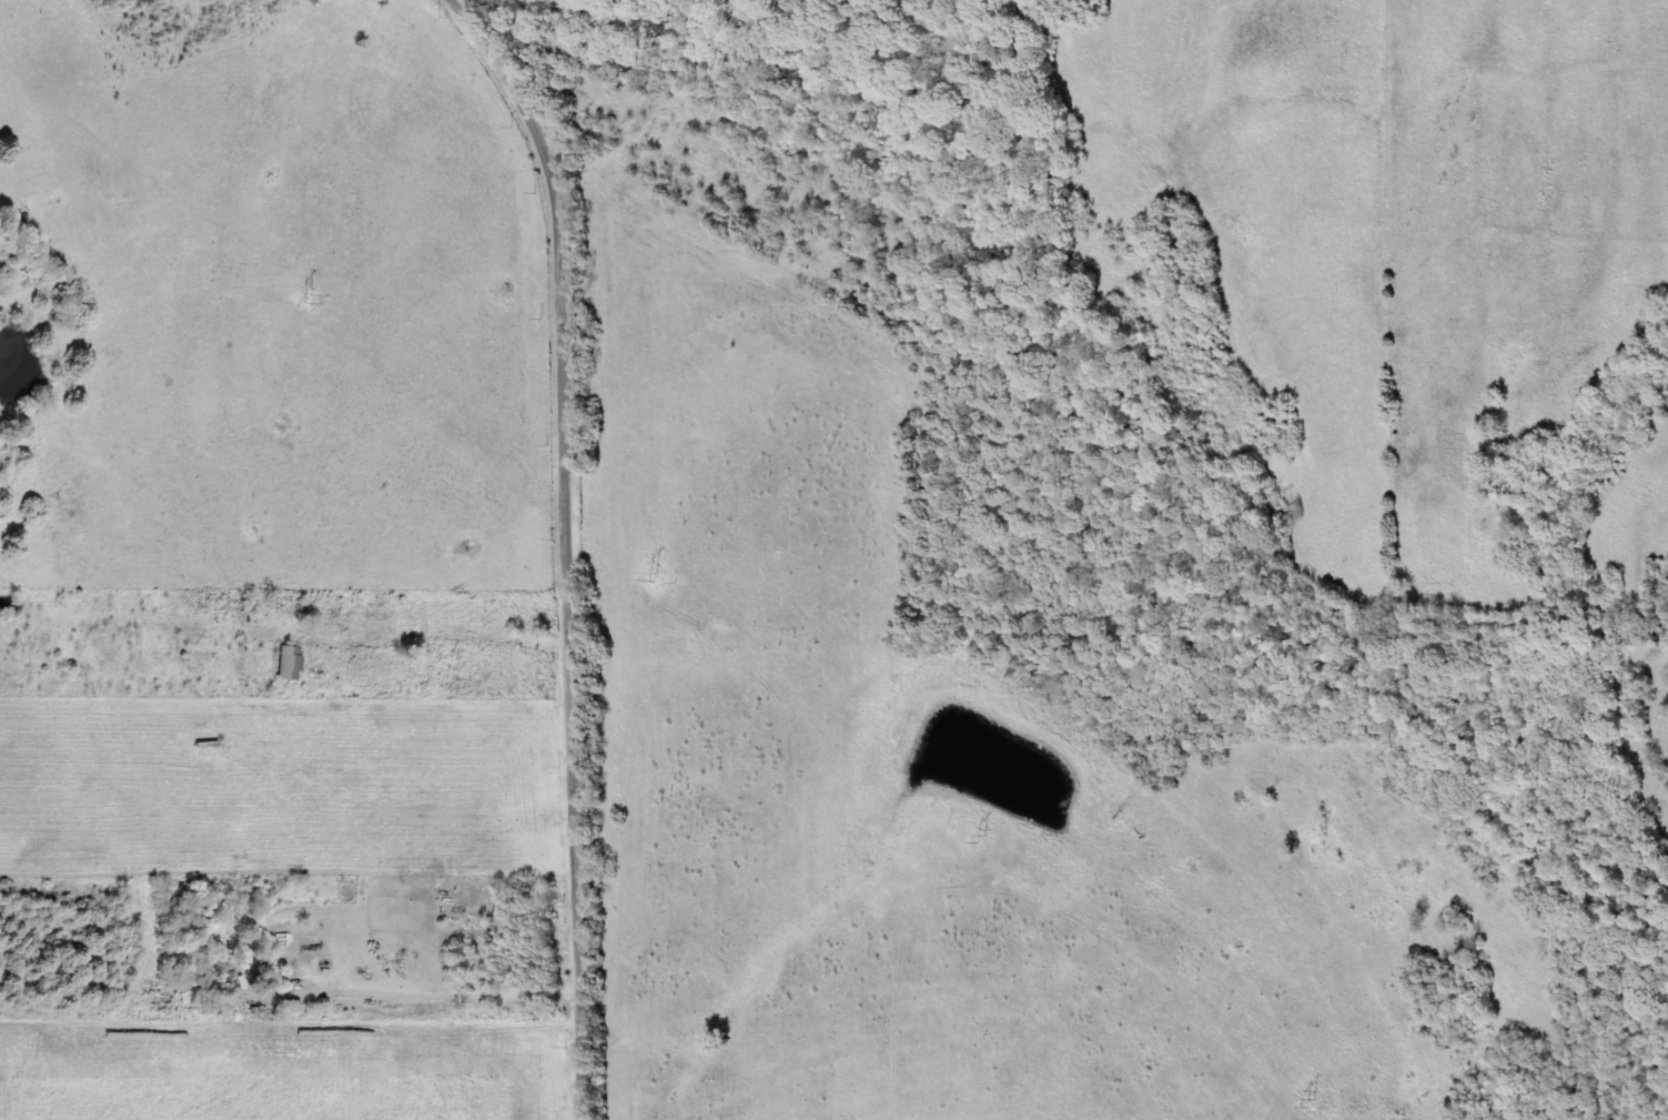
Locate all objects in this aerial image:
power tower: (309, 300)
road: (529, 349)
power tower: (655, 577)
building: (292, 663)
power tower: (982, 839)
road: (534, 924)
power tower: (1313, 1103)

